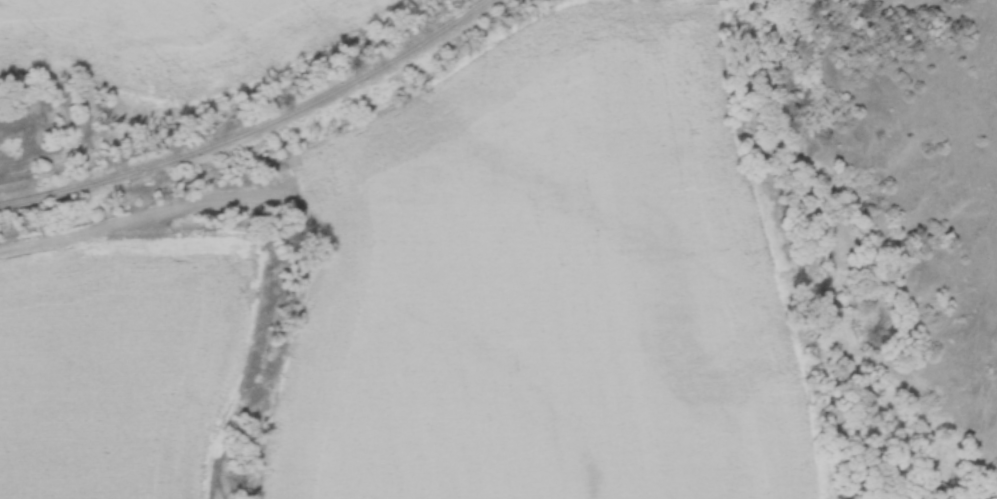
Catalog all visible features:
railway: (257, 133)

